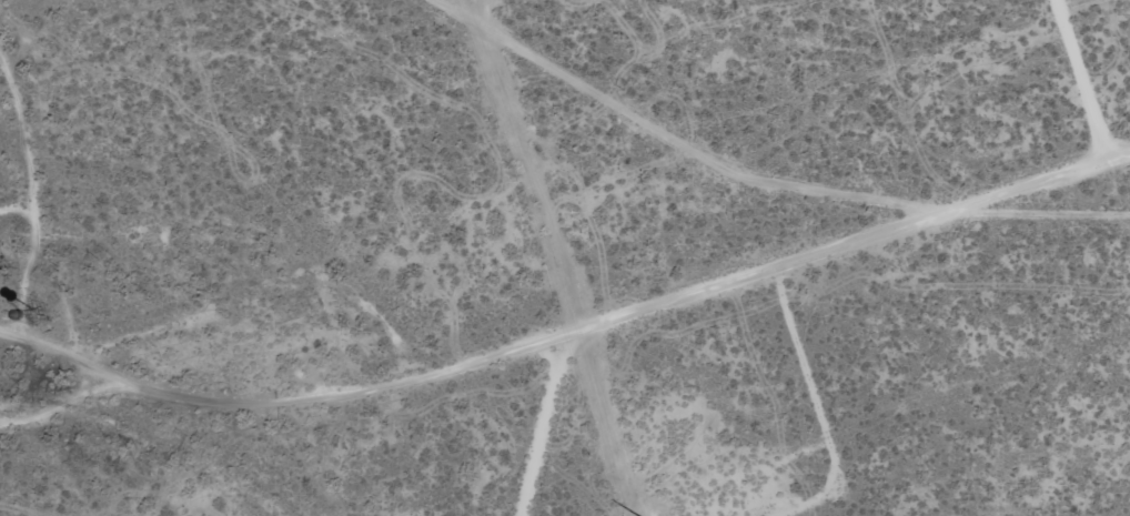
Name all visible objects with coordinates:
road: (1, 138)
road: (572, 326)
road: (13, 342)

